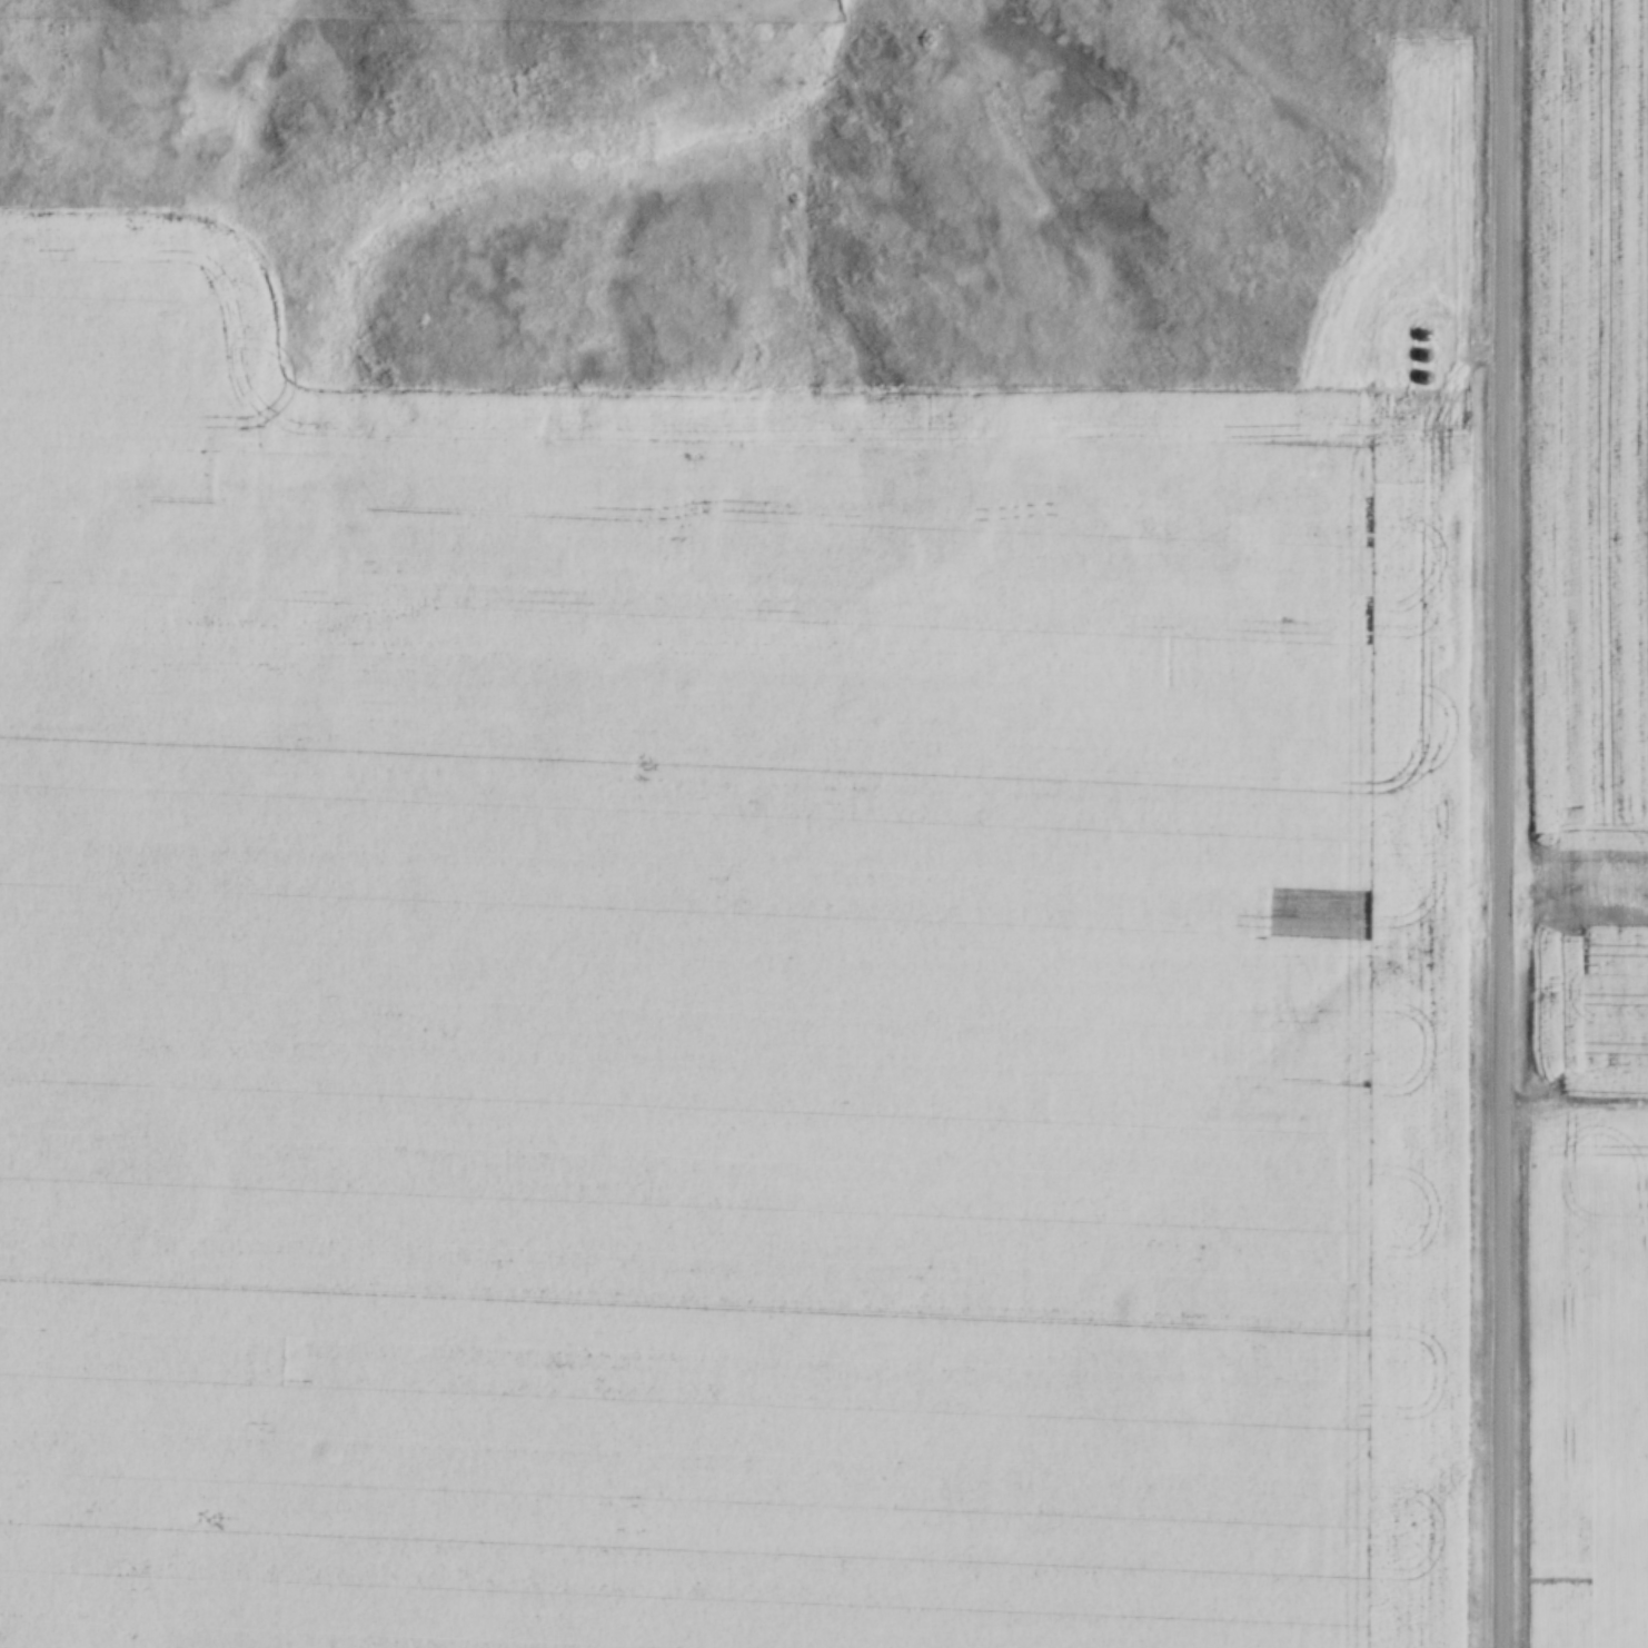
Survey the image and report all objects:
building: (1422, 356)
road: (1501, 823)

